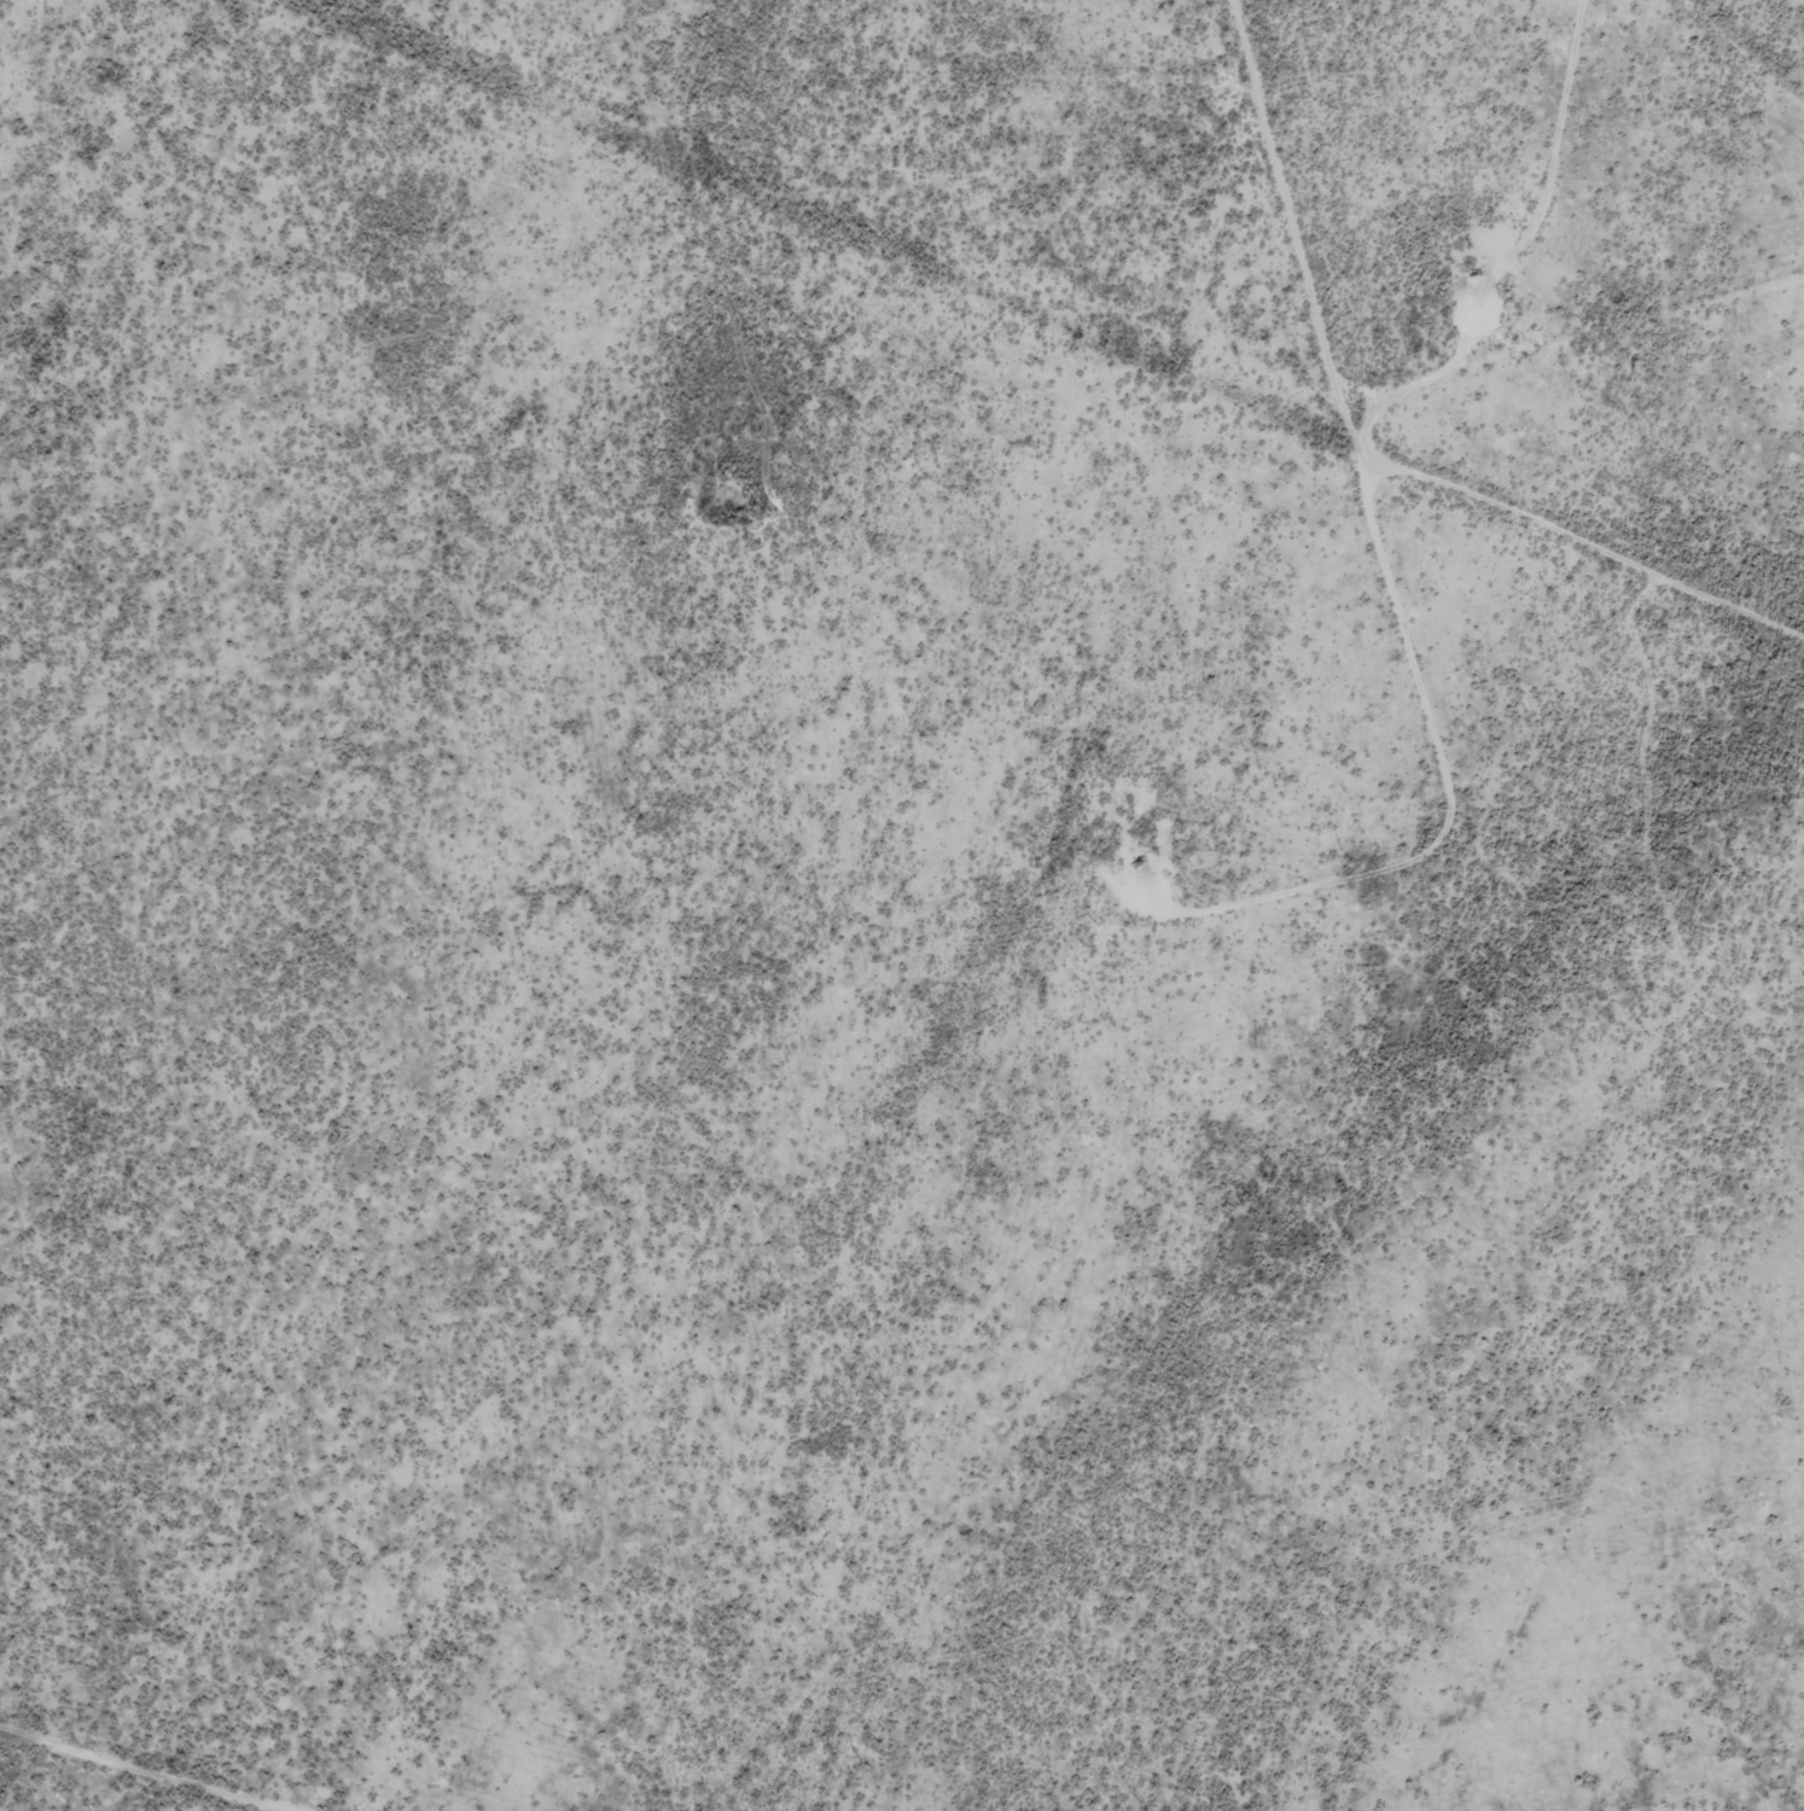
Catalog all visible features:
road: (1319, 273)
road: (1566, 386)
road: (1459, 467)
road: (1695, 588)

